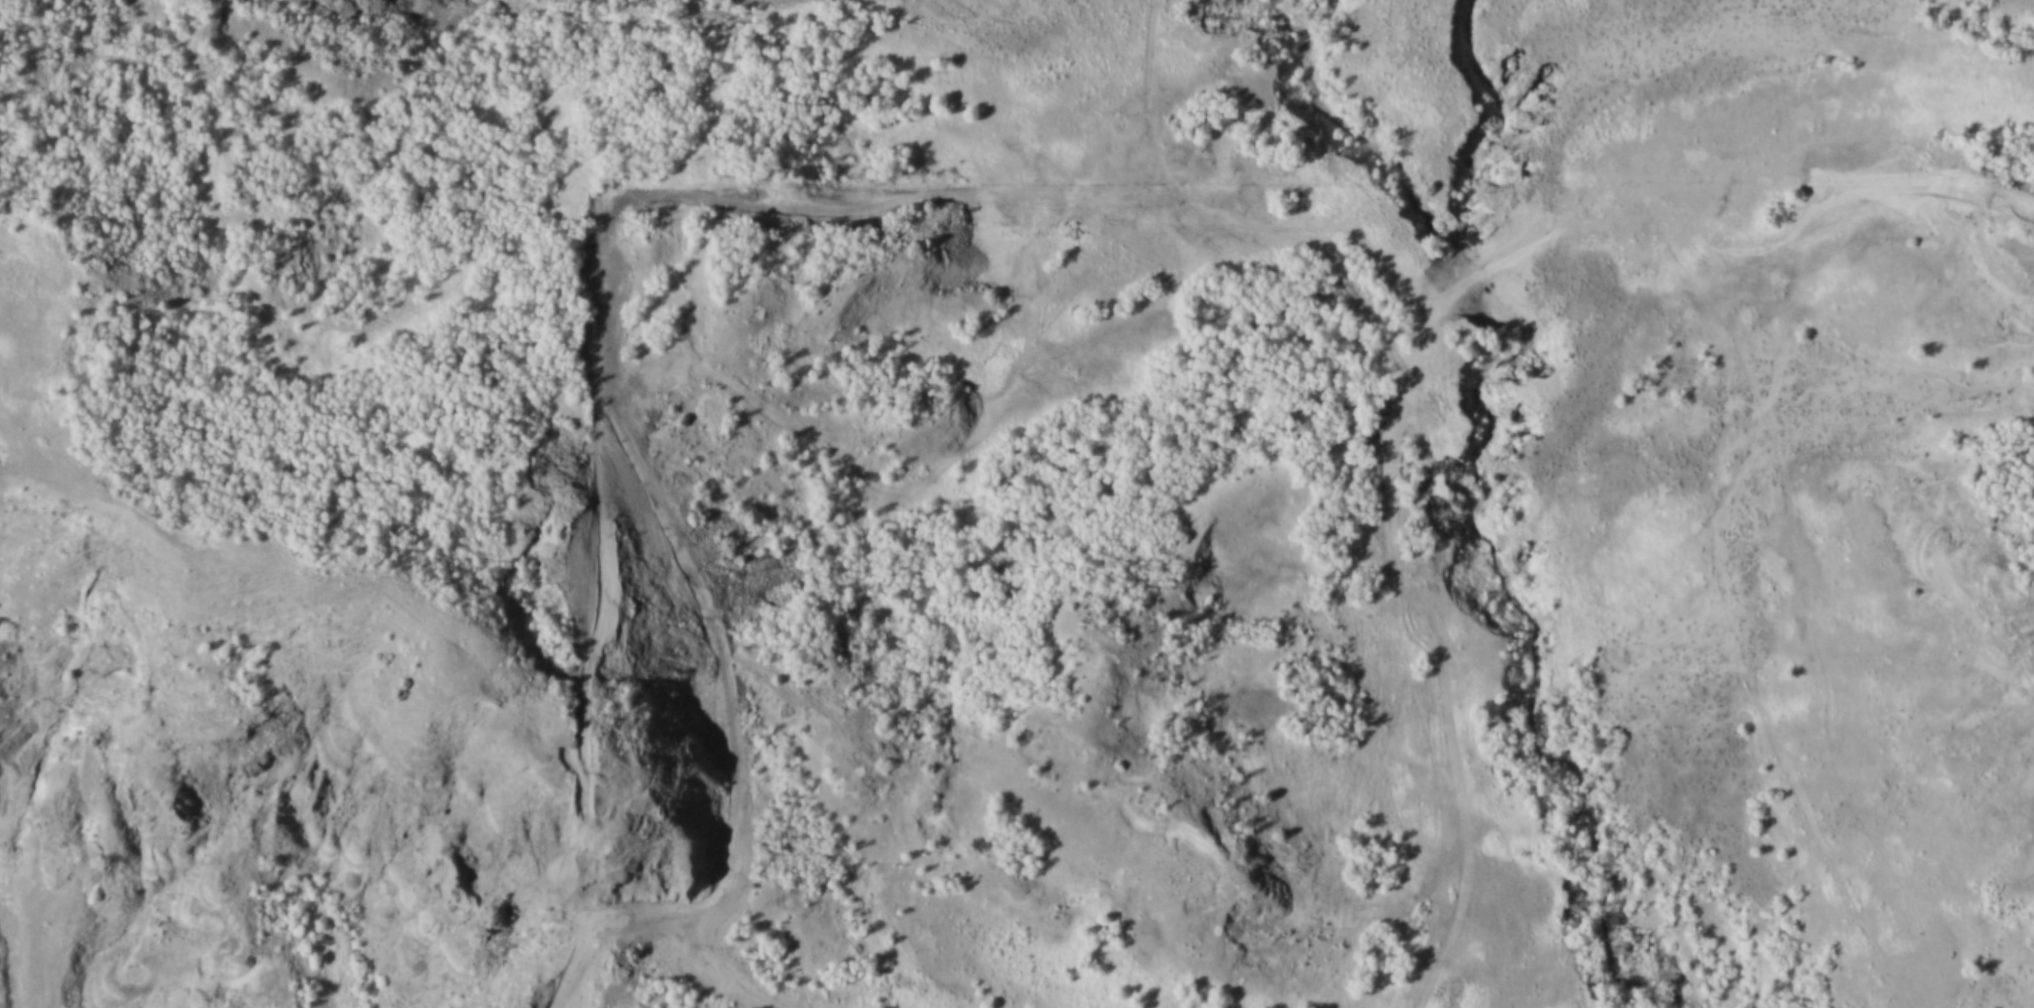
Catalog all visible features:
road: (1152, 100)
road: (1429, 452)

